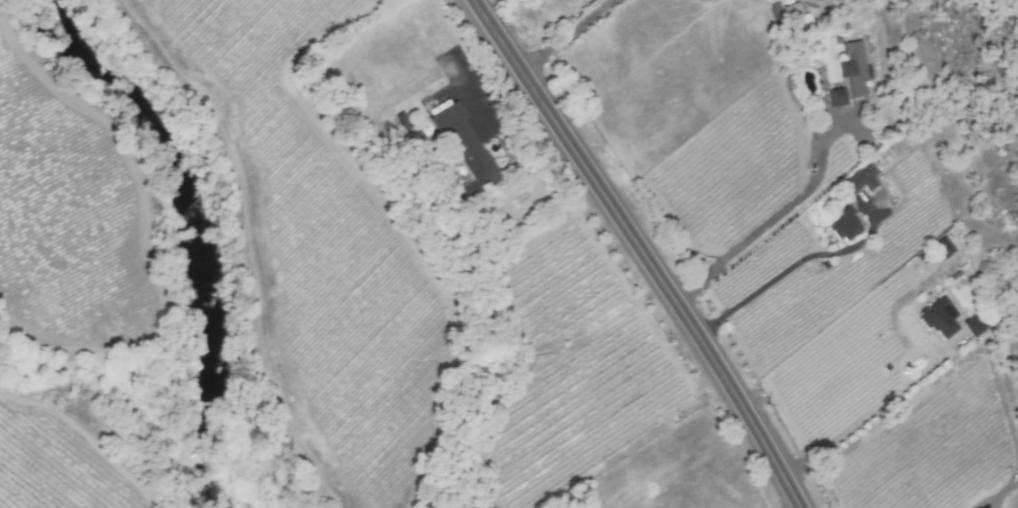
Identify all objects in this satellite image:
building: (797, 18)
road: (559, 32)
building: (854, 68)
building: (836, 97)
building: (861, 178)
road: (767, 220)
building: (845, 226)
river: (201, 233)
building: (941, 248)
road: (640, 251)
road: (786, 271)
building: (940, 317)
building: (975, 324)
road: (869, 417)
road: (795, 506)

